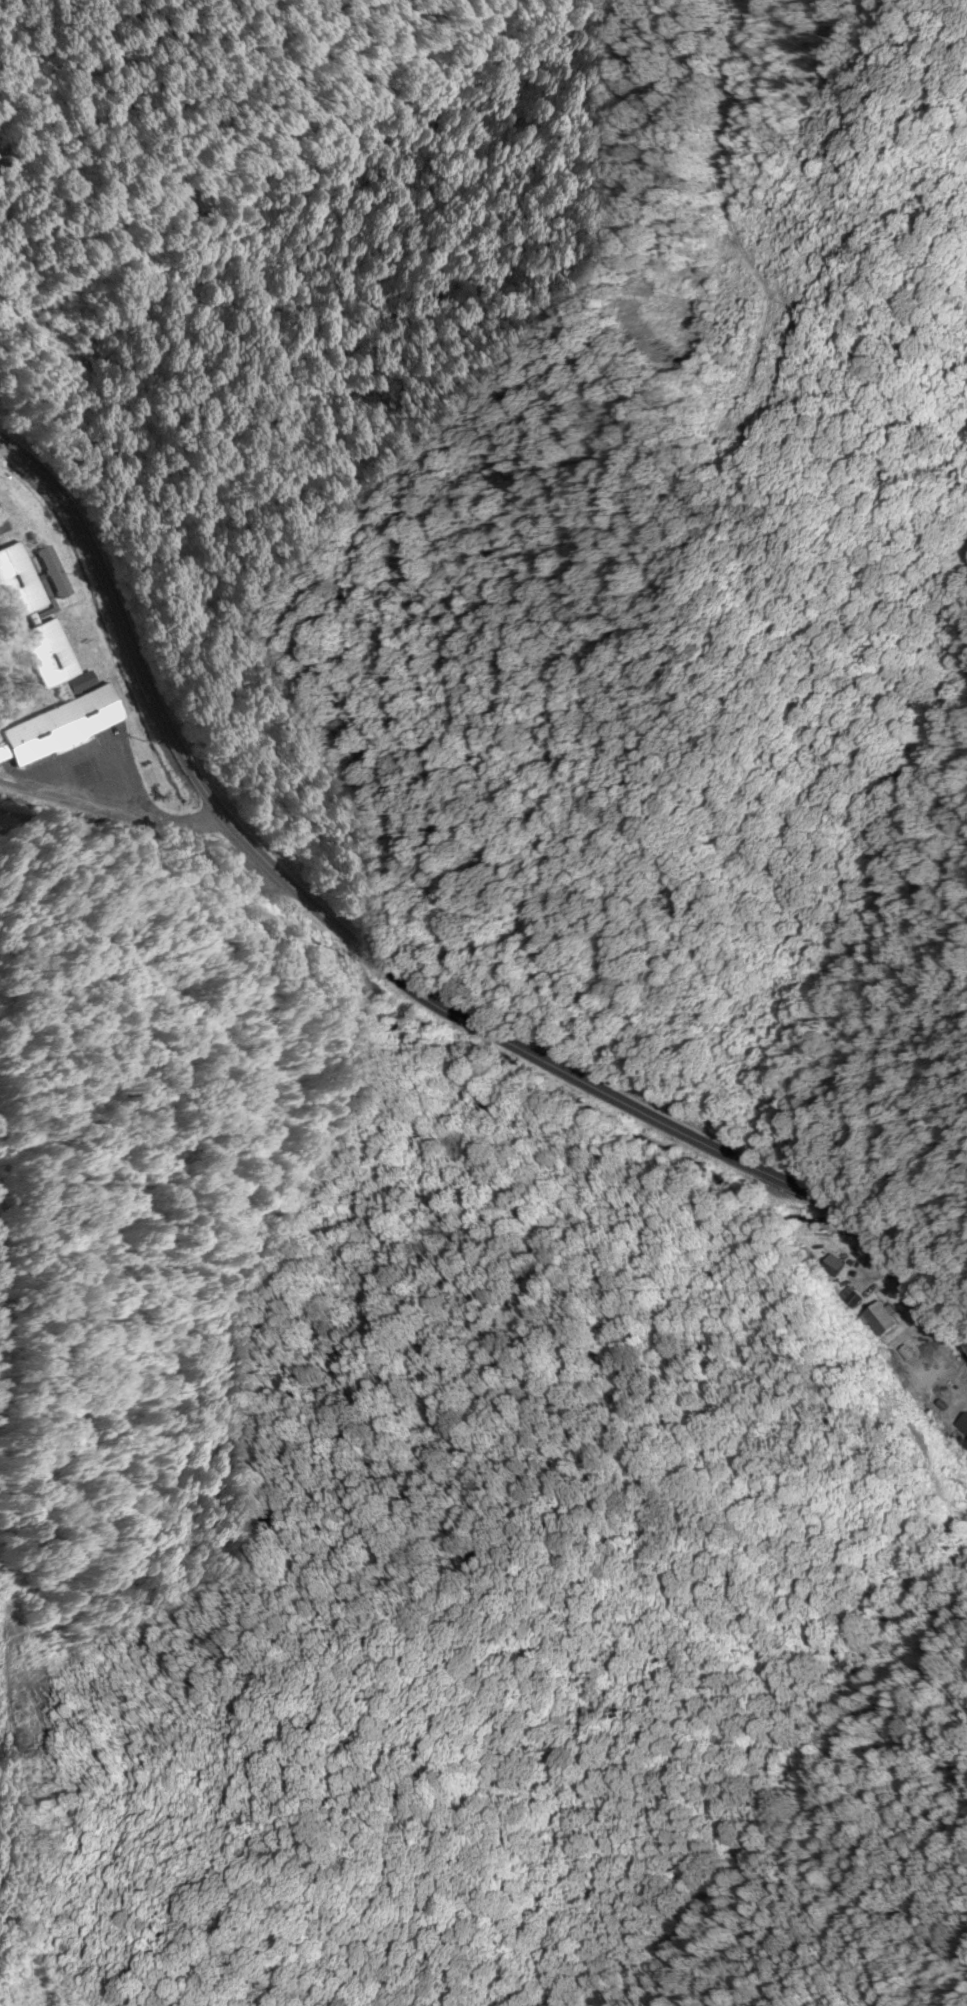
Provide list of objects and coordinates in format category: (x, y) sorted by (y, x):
building: (51, 573)
building: (17, 584)
building: (86, 698)
road: (107, 793)
road: (399, 977)
building: (832, 1267)
building: (880, 1320)
building: (906, 1360)
building: (962, 1425)
building: (965, 1447)

